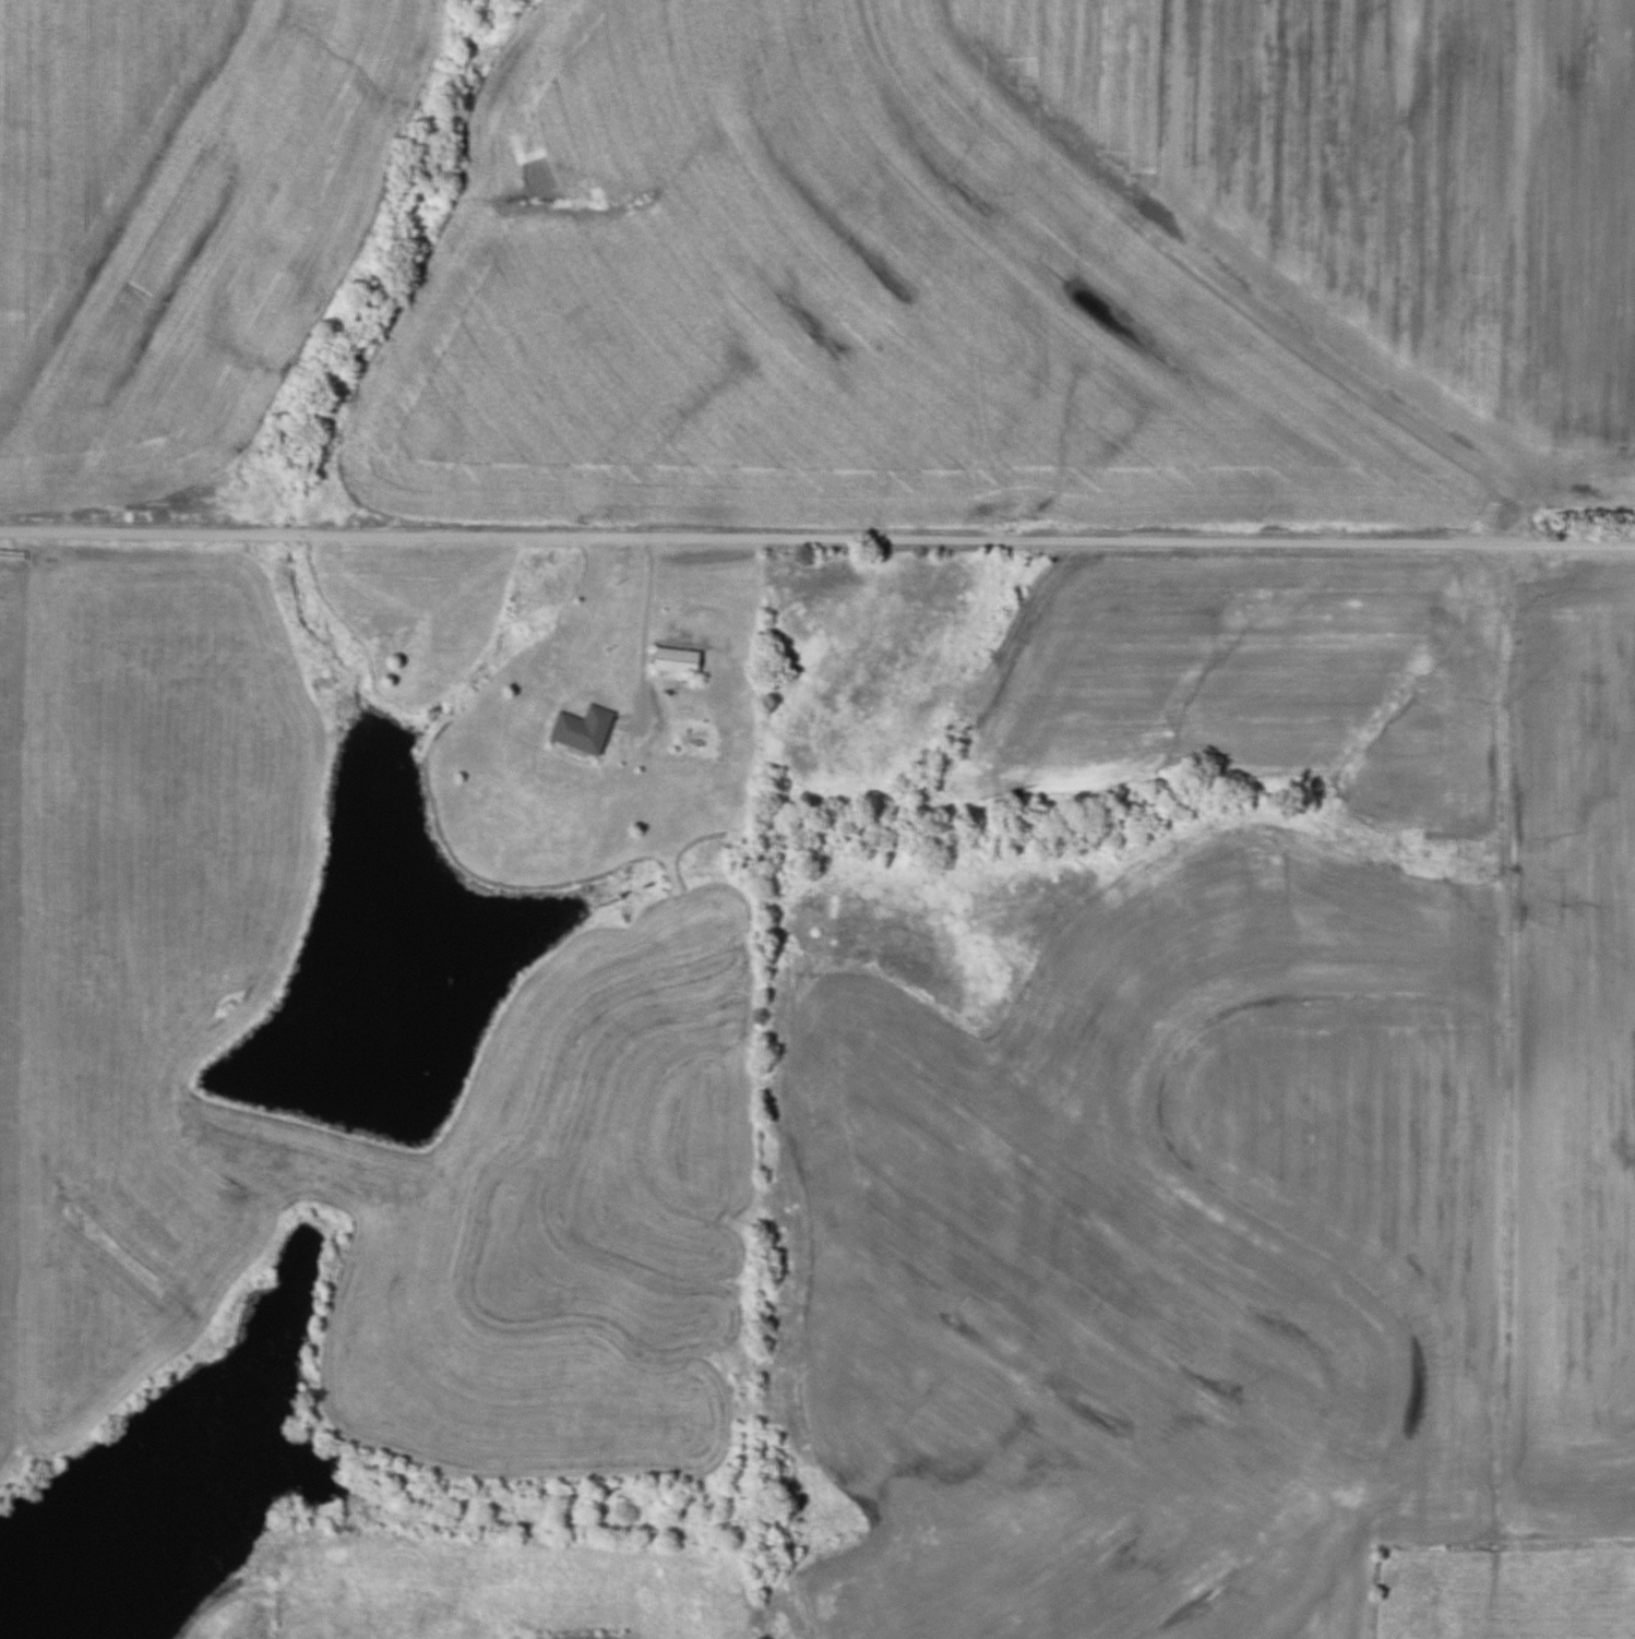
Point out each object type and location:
crop: (179, 225)
crop: (1025, 270)
road: (816, 537)
building: (673, 660)
building: (581, 729)
crop: (1574, 1051)
crop: (1148, 1265)

